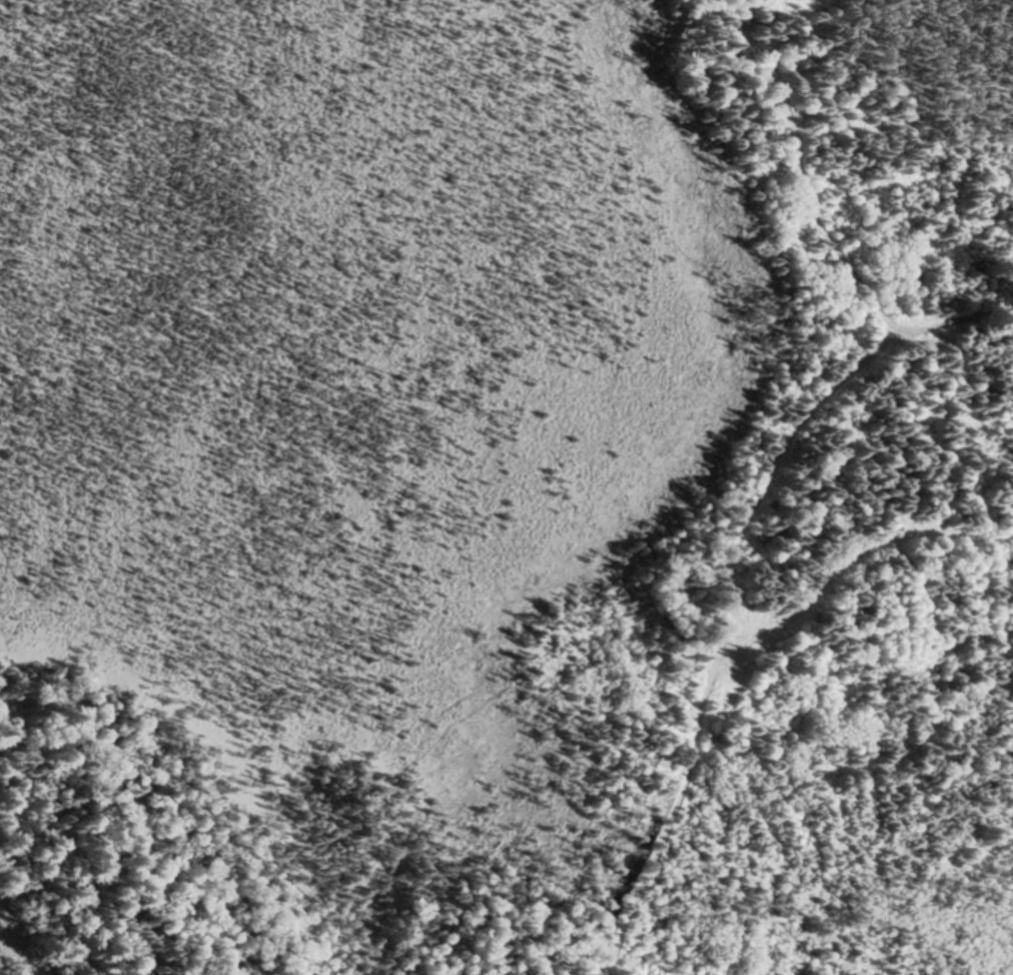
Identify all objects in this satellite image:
road: (794, 226)

